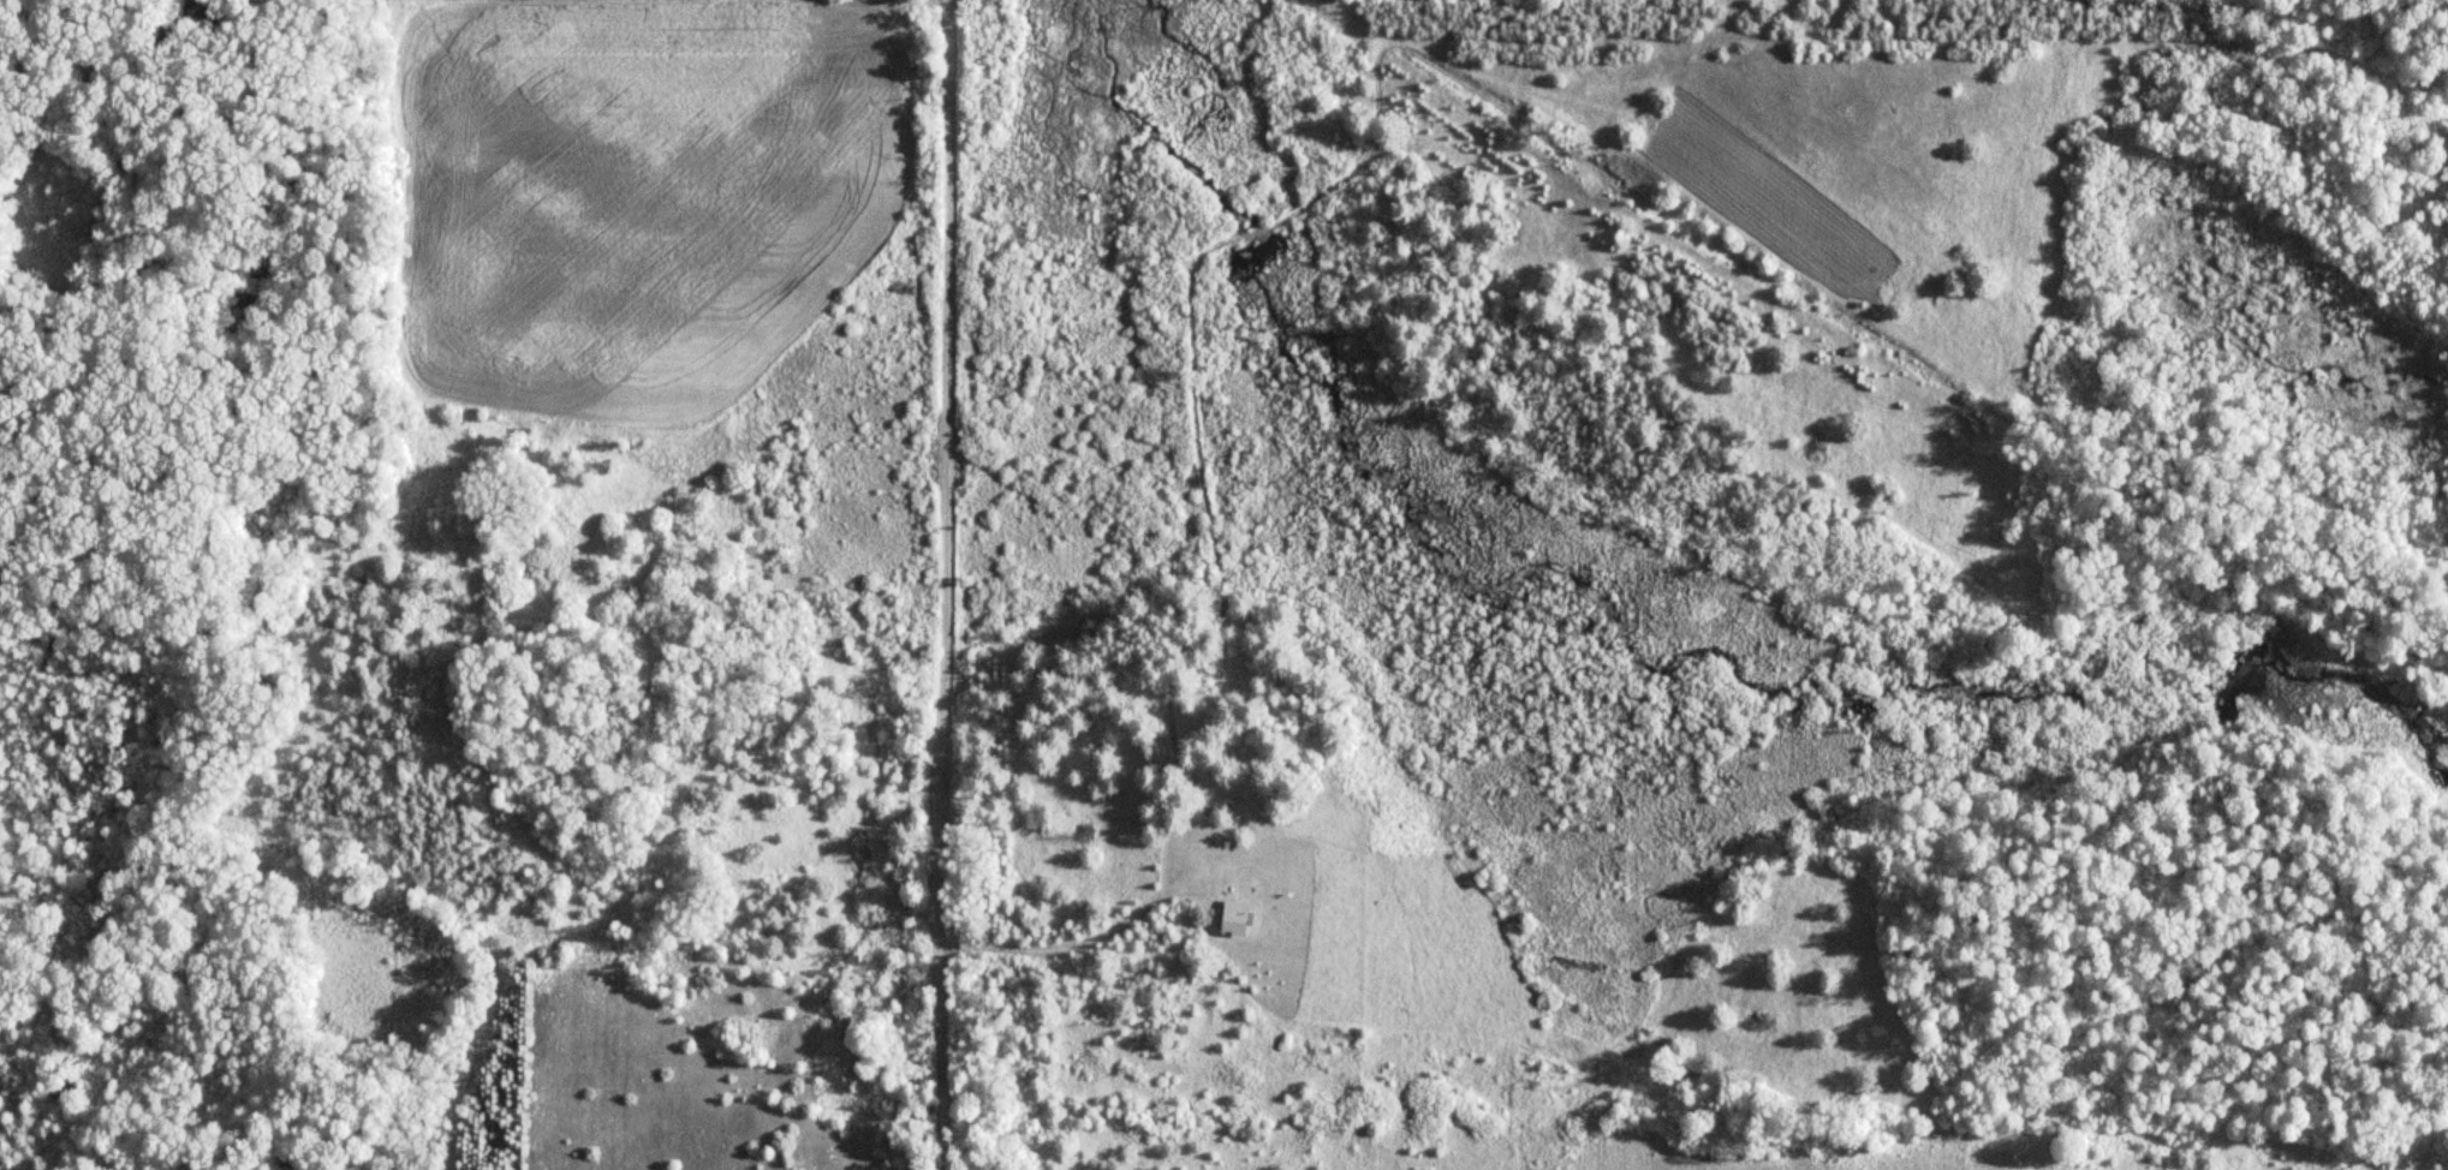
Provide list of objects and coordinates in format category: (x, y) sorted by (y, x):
road: (946, 585)
building: (1233, 920)

